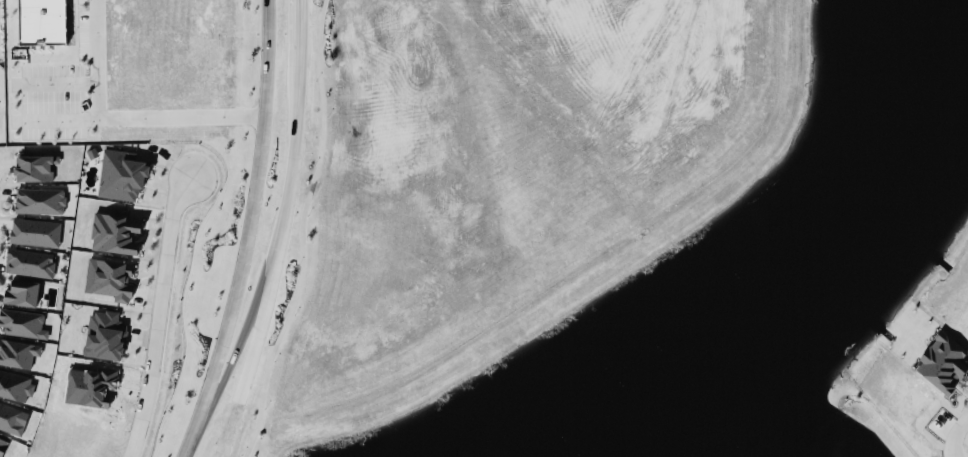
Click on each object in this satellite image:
building: (41, 23)
road: (118, 122)
road: (403, 123)
road: (296, 125)
building: (92, 155)
building: (34, 169)
road: (594, 173)
building: (120, 177)
building: (39, 202)
road: (251, 214)
road: (302, 231)
building: (35, 234)
road: (325, 250)
building: (29, 264)
building: (21, 295)
road: (158, 317)
building: (22, 325)
road: (260, 327)
building: (104, 337)
road: (242, 338)
building: (19, 355)
building: (15, 388)
building: (12, 421)
road: (189, 440)
road: (965, 442)
building: (2, 446)

